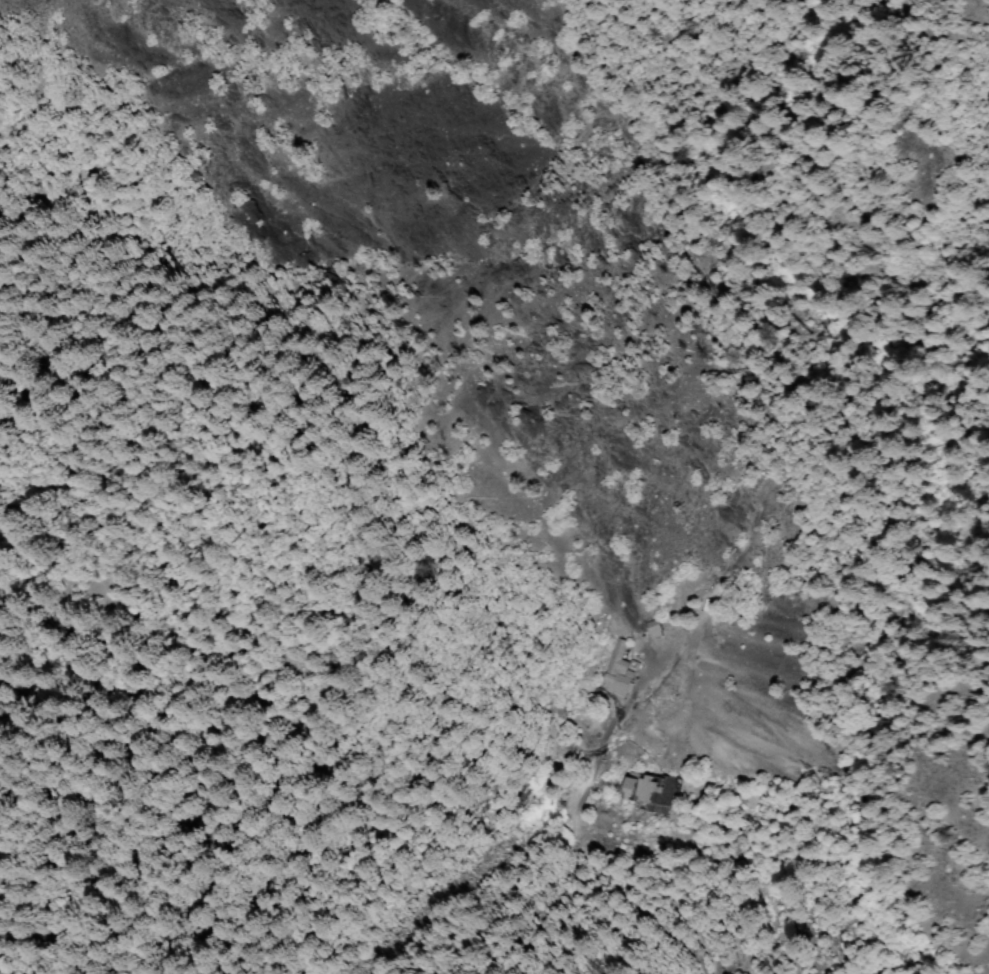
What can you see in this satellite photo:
building: (652, 629)
building: (618, 670)
building: (650, 792)
road: (574, 829)

